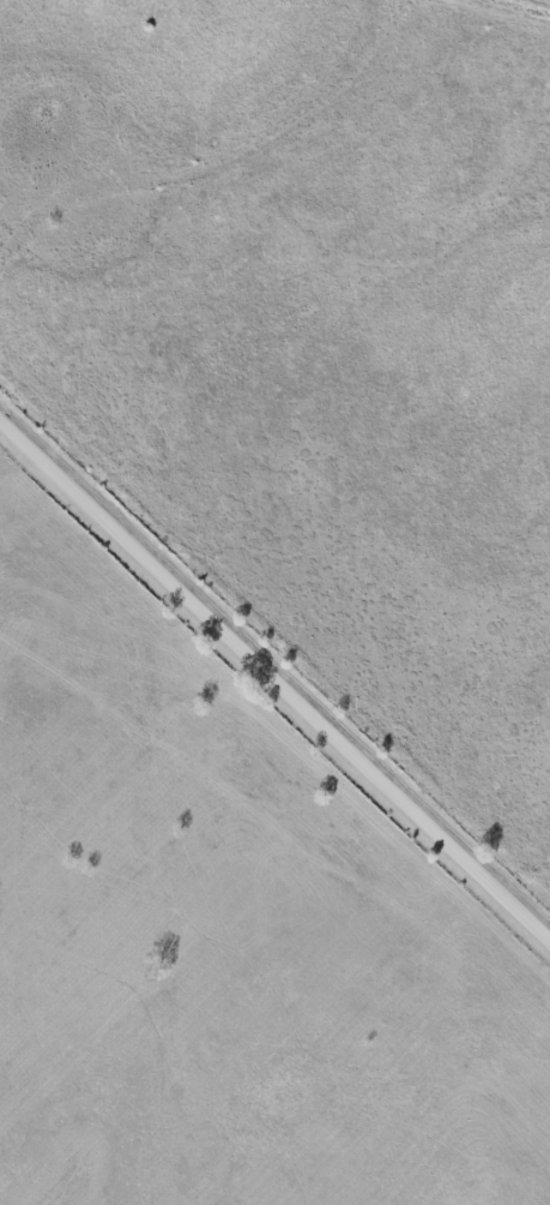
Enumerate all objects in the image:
road: (274, 671)

